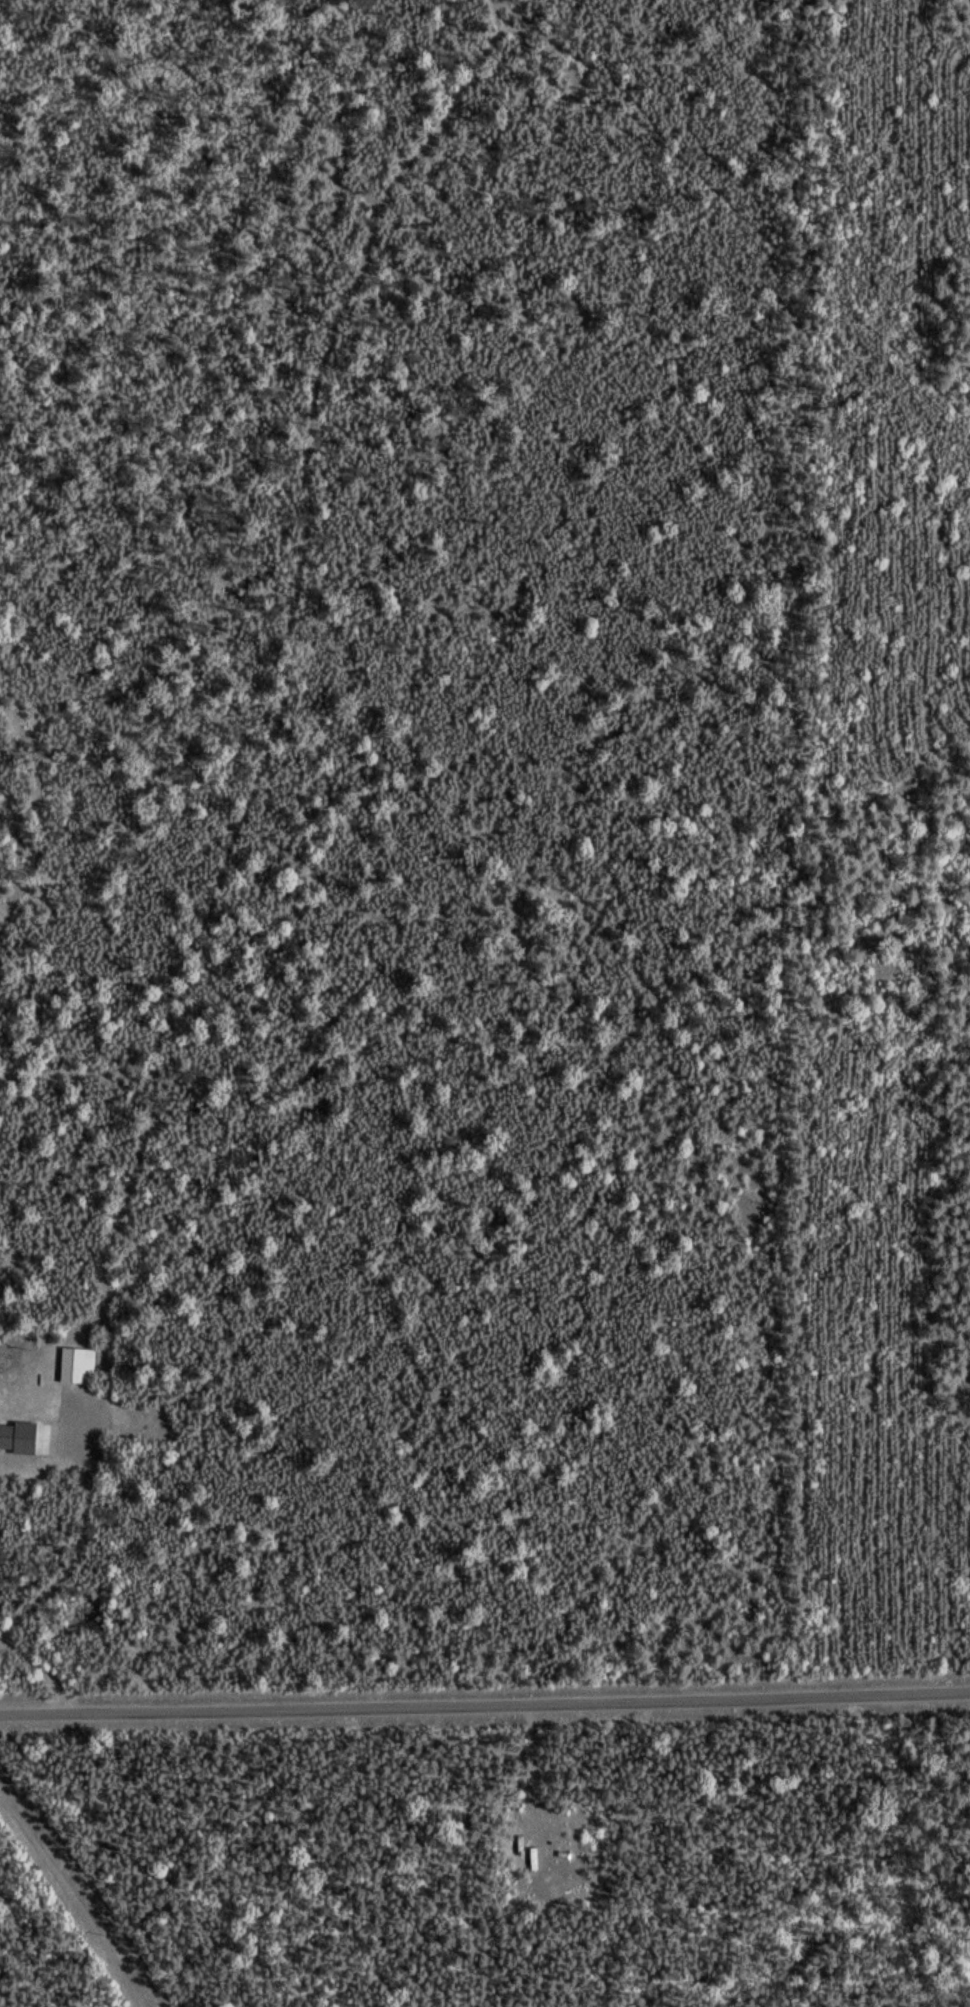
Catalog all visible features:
building: (77, 1367)
building: (17, 1437)
road: (84, 1538)
road: (485, 1707)

